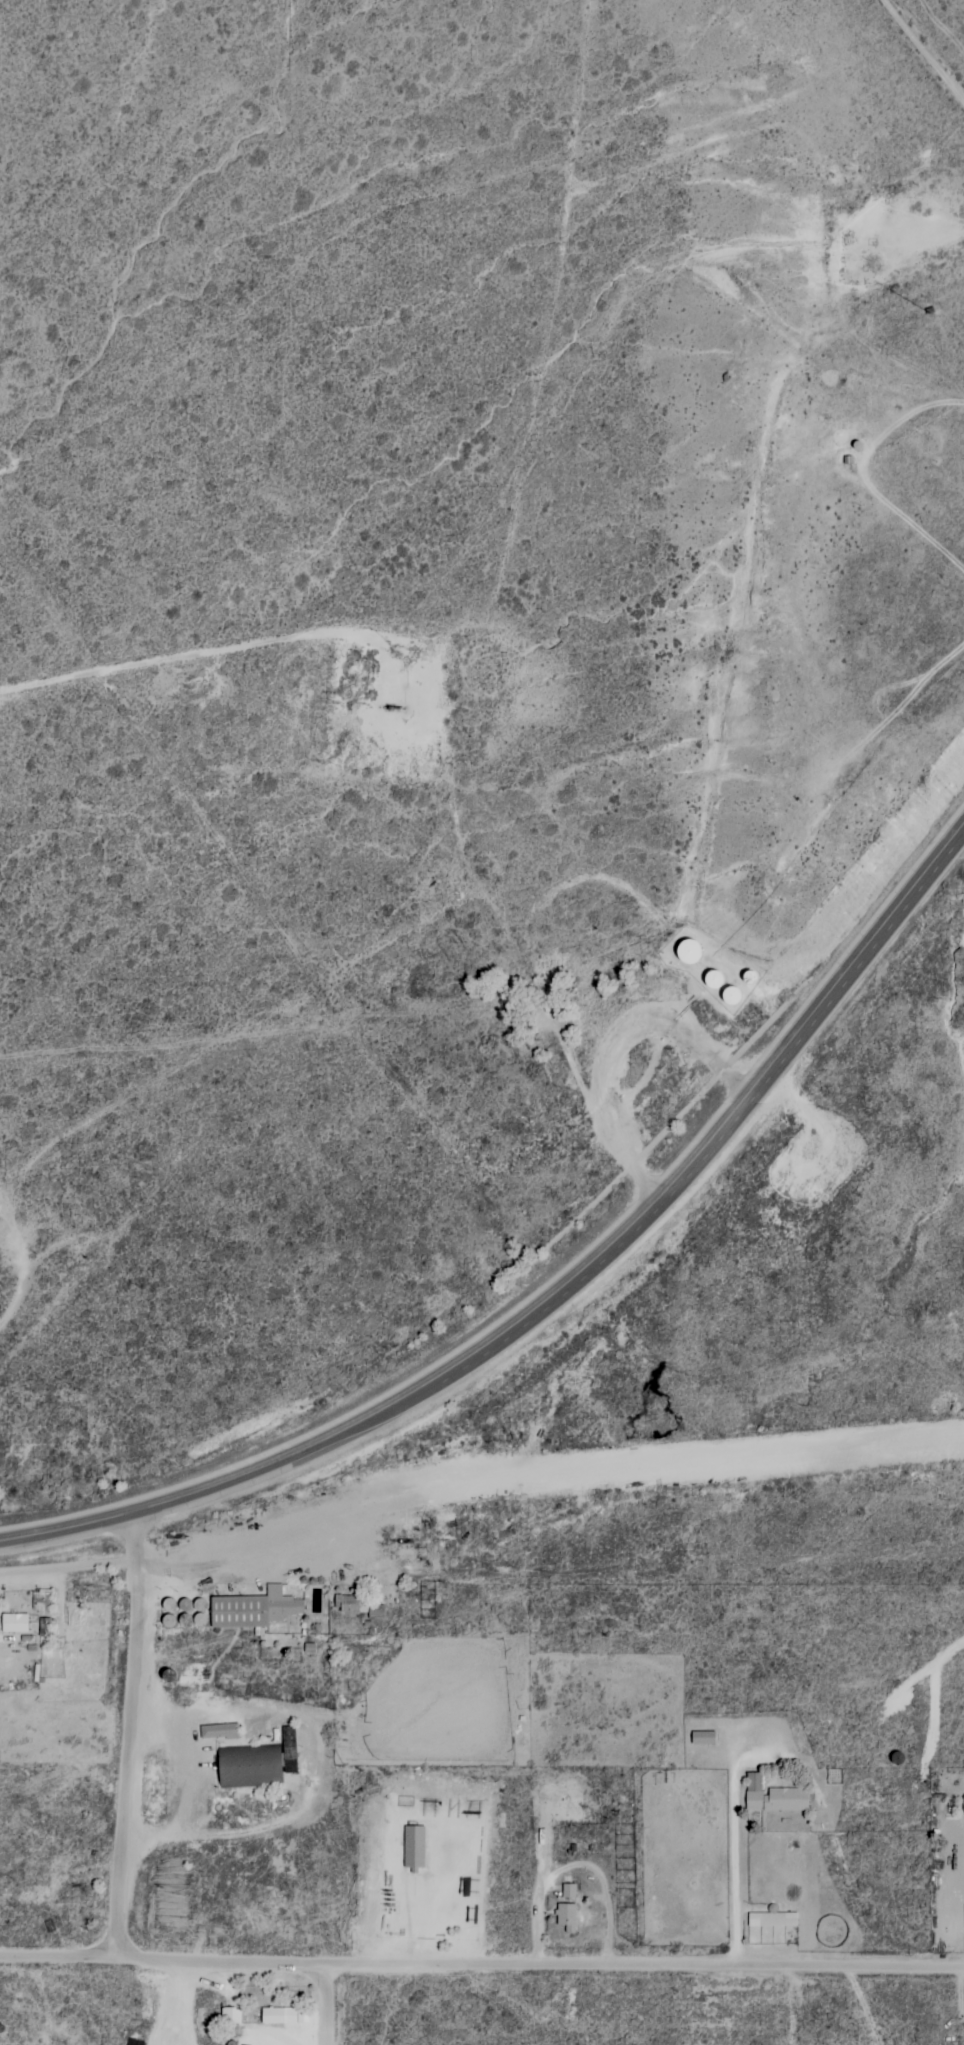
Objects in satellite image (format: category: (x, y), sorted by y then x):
road: (928, 46)
road: (556, 1291)
airport runway: (680, 1467)
building: (346, 1603)
building: (252, 1609)
building: (375, 1612)
building: (13, 1623)
building: (45, 1627)
building: (218, 1731)
road: (129, 1732)
building: (702, 1738)
building: (772, 1797)
building: (413, 1848)
building: (568, 1891)
building: (565, 1917)
building: (772, 1919)
road: (481, 1961)
road: (803, 2001)
road: (326, 2005)
building: (230, 2016)
building: (284, 2016)

